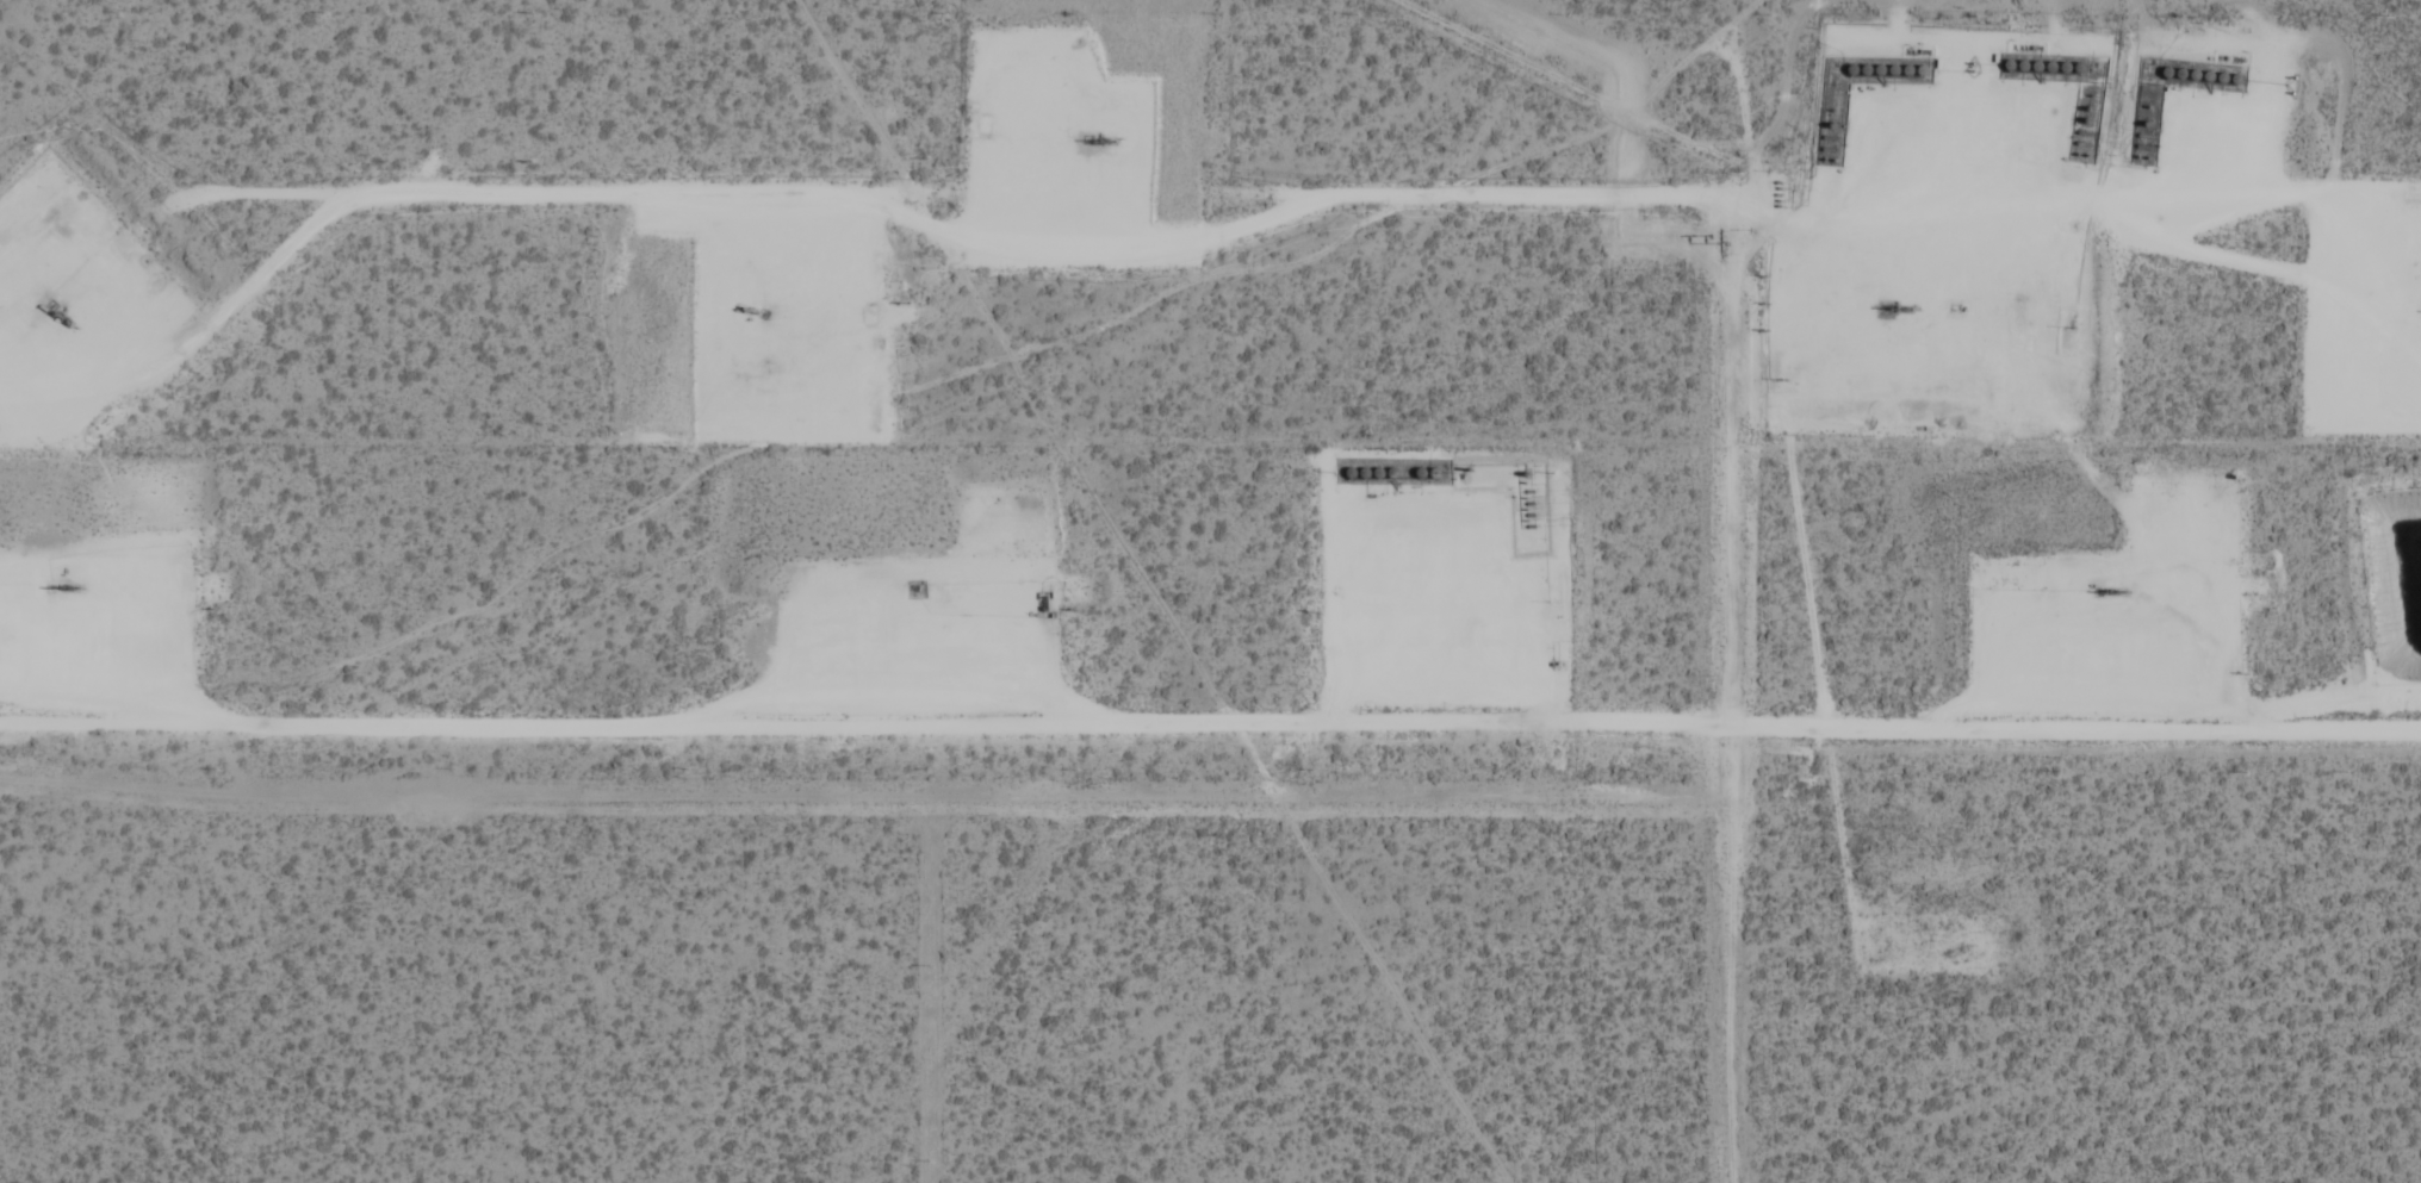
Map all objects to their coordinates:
road: (1048, 154)
road: (2203, 161)
road: (1243, 224)
road: (1880, 226)
road: (2371, 268)
road: (33, 285)
road: (796, 309)
road: (1411, 612)
road: (2180, 616)
road: (981, 624)
road: (36, 636)
road: (1210, 721)
road: (2072, 977)

